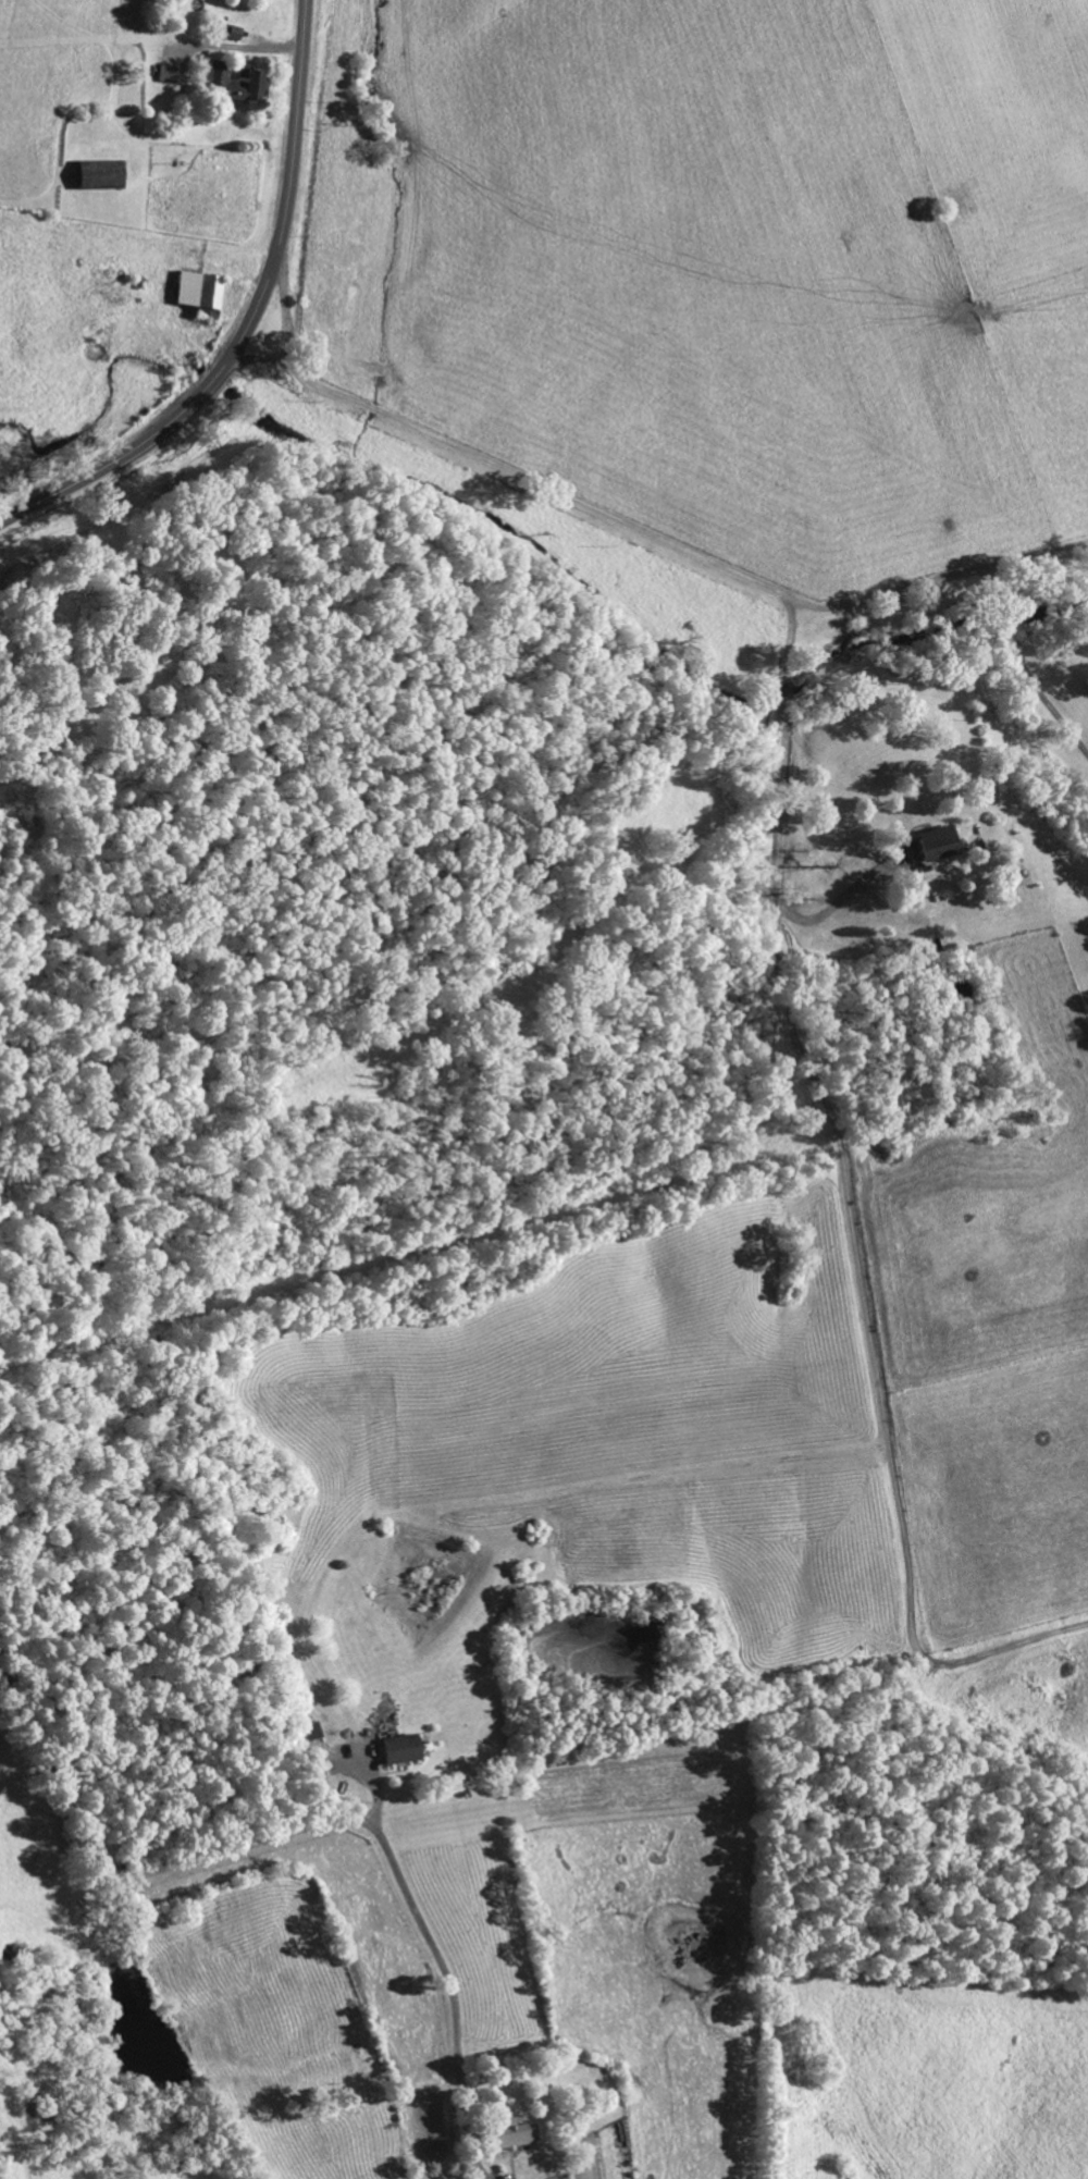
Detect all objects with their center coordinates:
building: (165, 75)
building: (233, 84)
building: (97, 177)
building: (196, 290)
road: (286, 301)
road: (249, 319)
road: (647, 529)
road: (1025, 661)
building: (935, 844)
building: (306, 1734)
building: (398, 1750)
road: (299, 1830)
building: (512, 2138)

